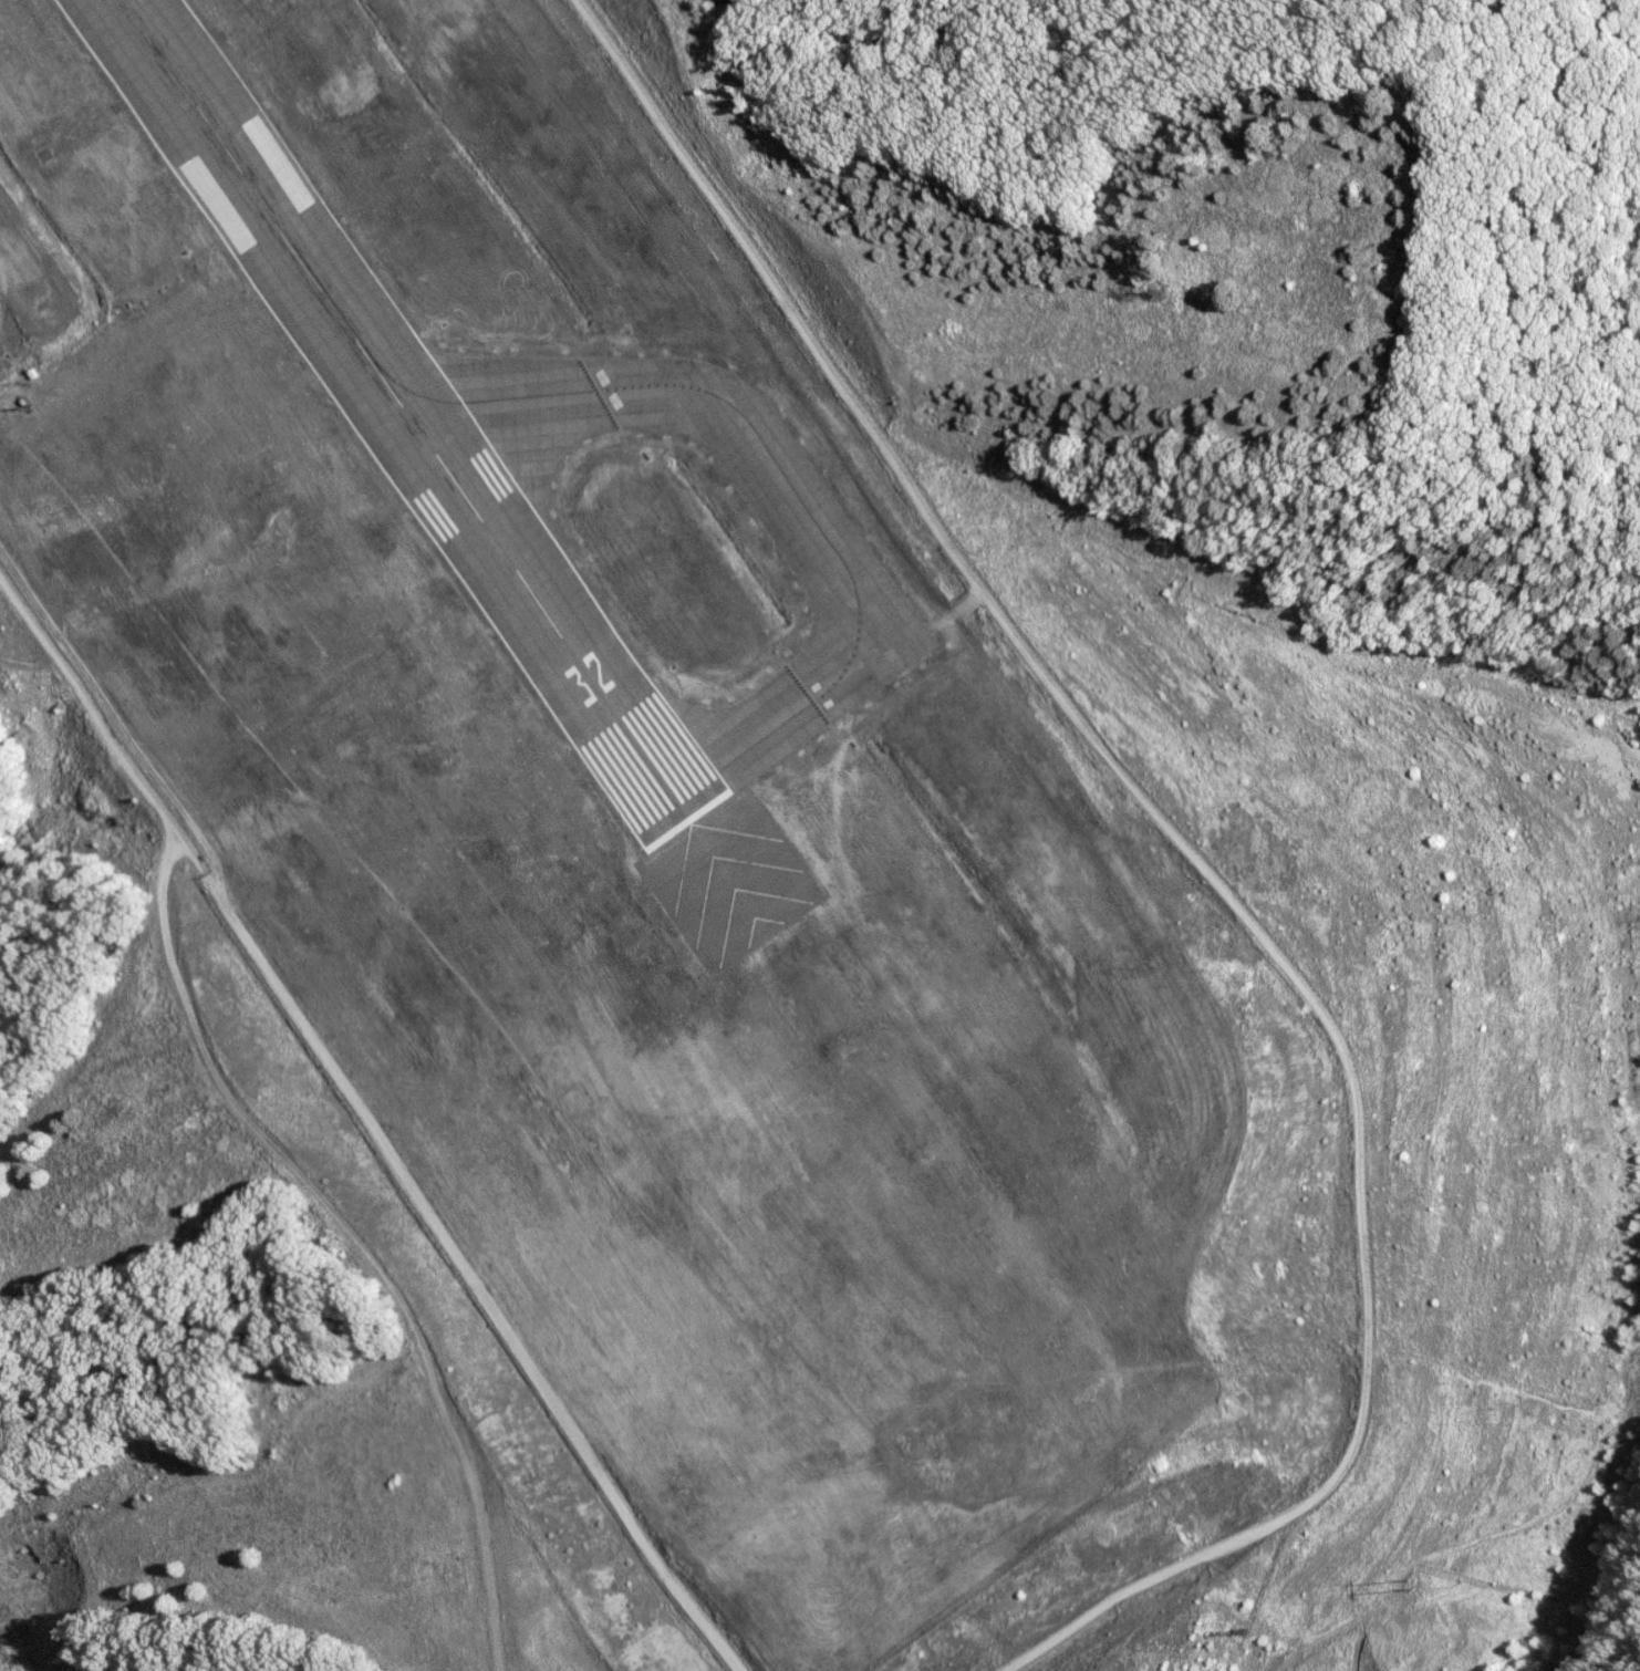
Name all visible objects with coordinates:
airport taxiway: (662, 385)
airport runway: (382, 408)
airport taxiway: (758, 730)
road: (1205, 873)
airport: (692, 932)
road: (365, 1139)
power tower: (1446, 1587)

